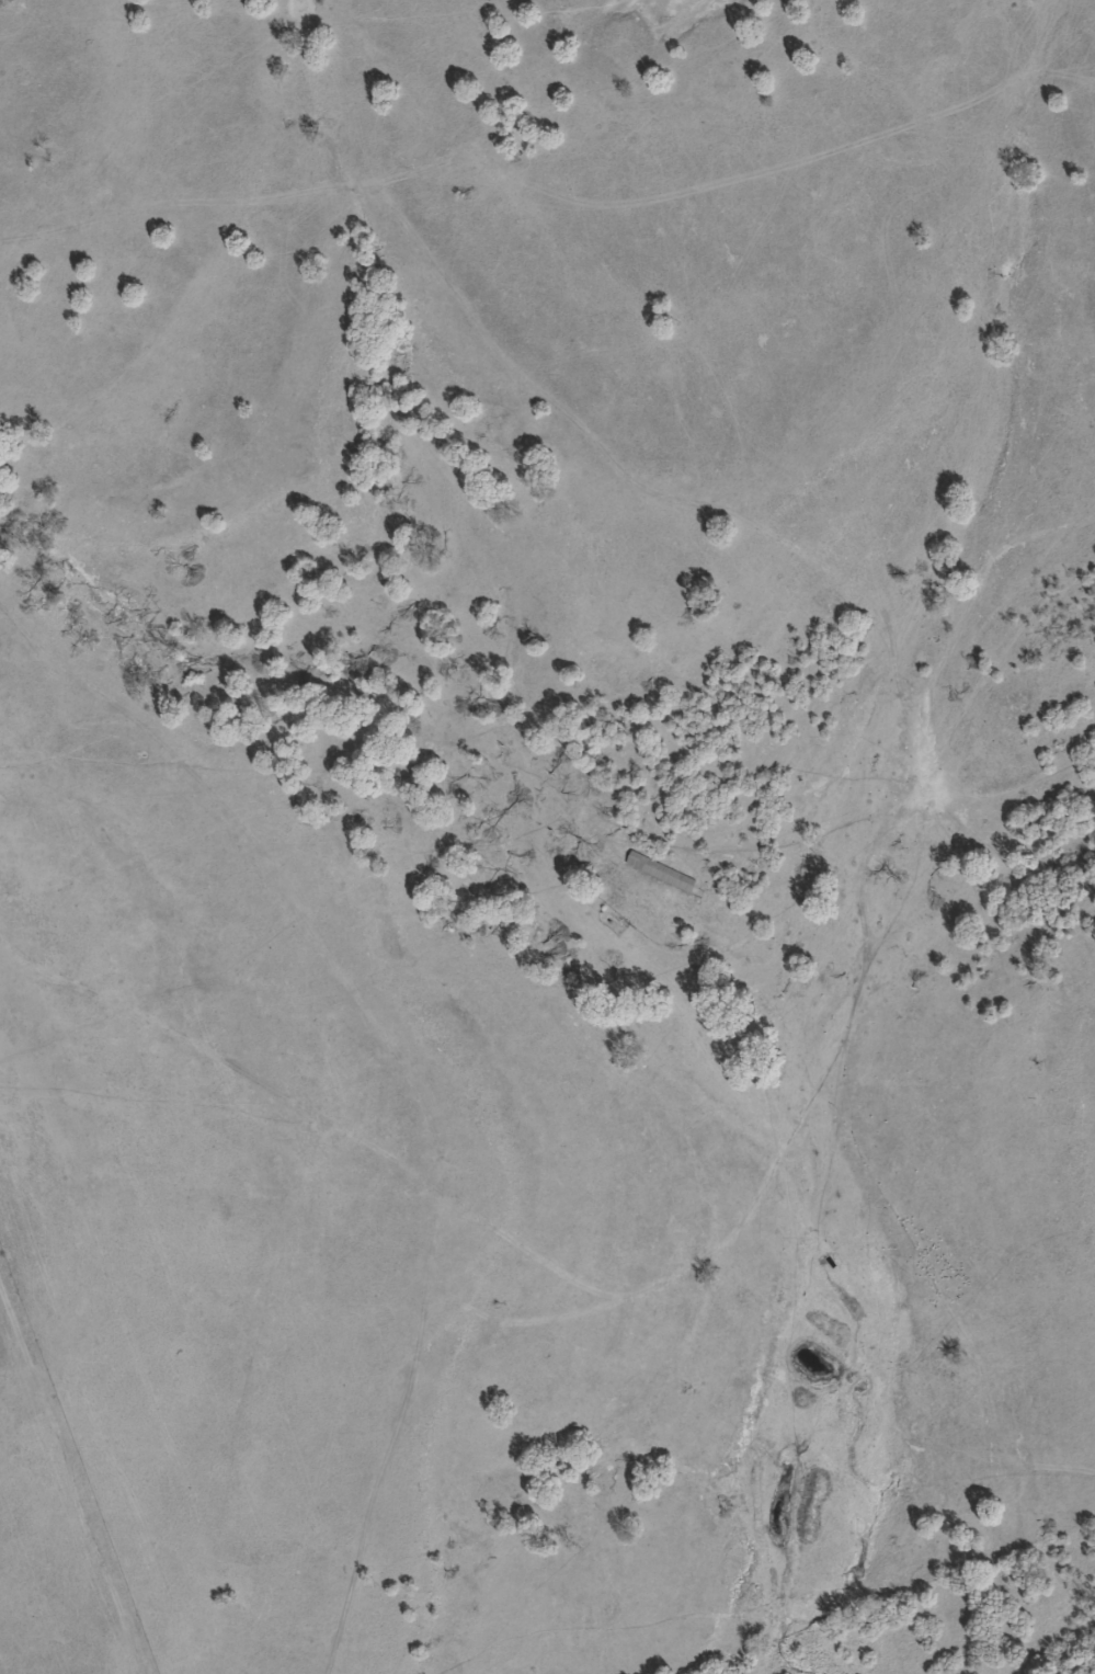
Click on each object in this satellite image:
building: (671, 877)

